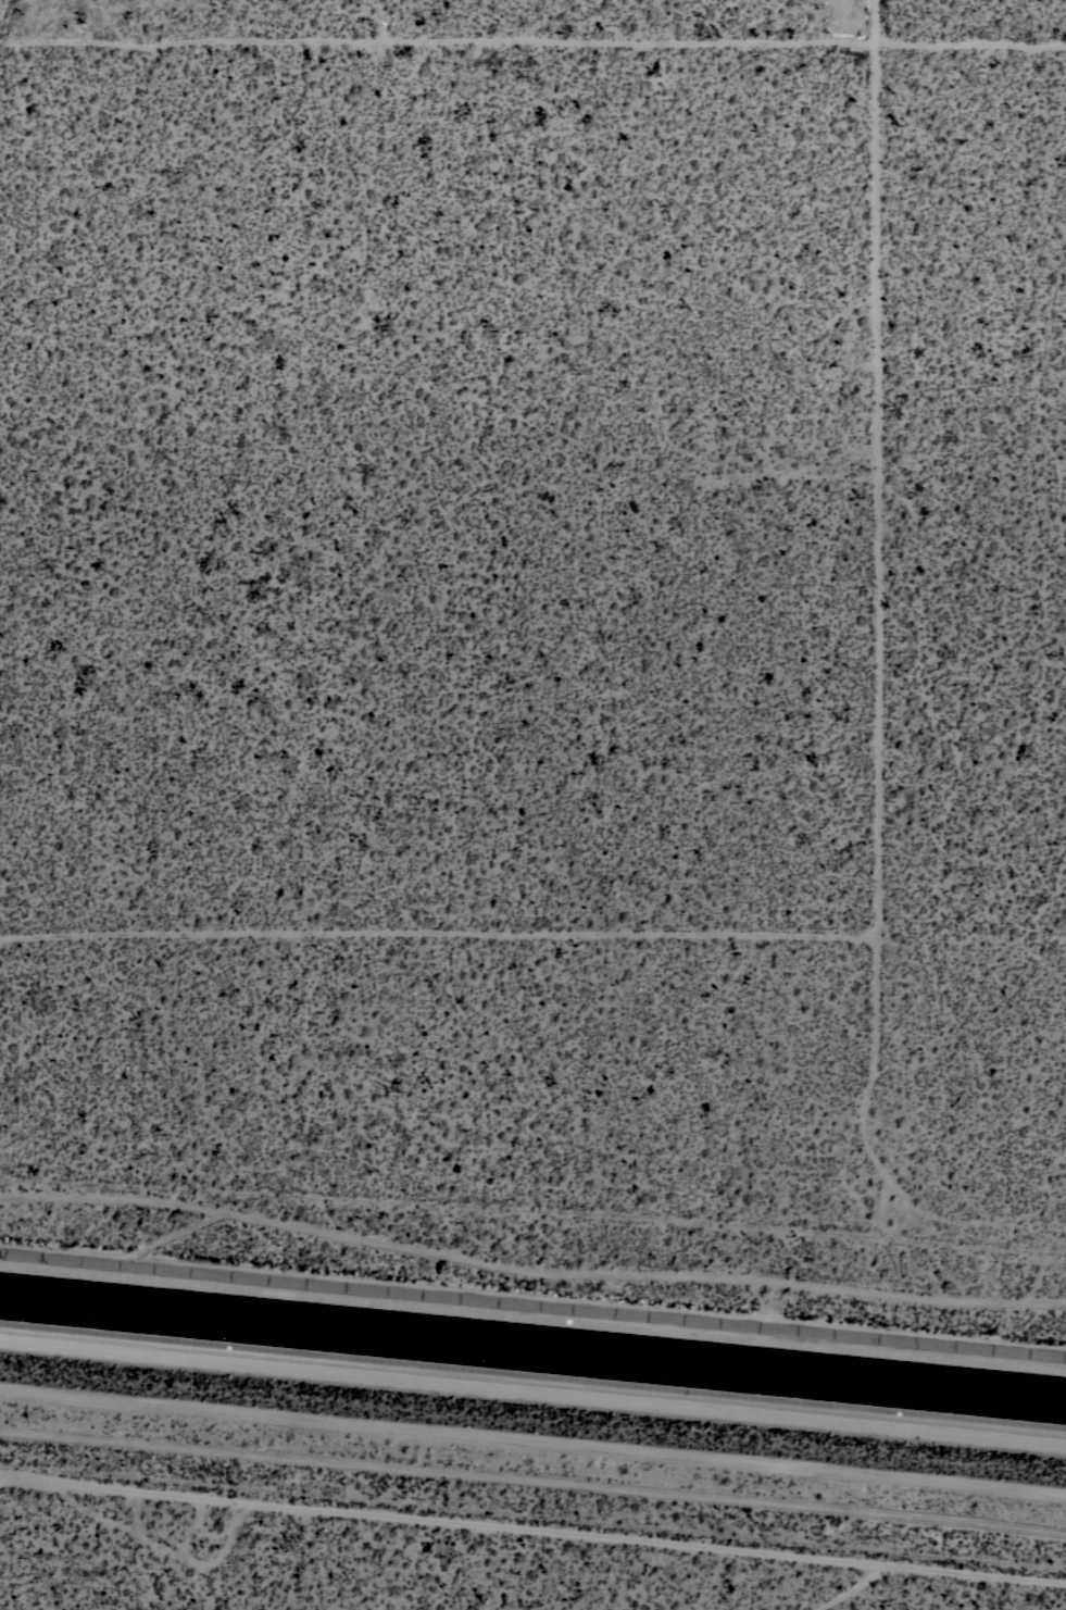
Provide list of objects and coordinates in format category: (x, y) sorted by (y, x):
road: (532, 51)
road: (873, 906)
road: (529, 1270)
road: (532, 1528)

